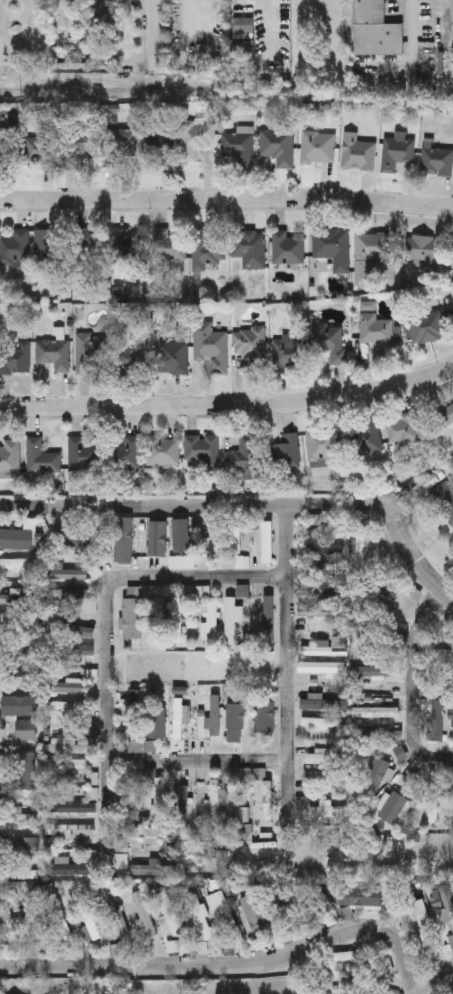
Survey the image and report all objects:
road: (413, 6)
building: (110, 20)
building: (375, 29)
road: (149, 30)
building: (194, 138)
building: (159, 144)
building: (116, 145)
building: (276, 145)
building: (237, 146)
building: (316, 146)
building: (4, 147)
building: (396, 150)
building: (54, 152)
building: (357, 153)
building: (436, 160)
road: (226, 202)
building: (90, 242)
building: (48, 244)
building: (128, 244)
building: (169, 244)
building: (14, 246)
building: (285, 247)
building: (249, 248)
building: (206, 249)
building: (421, 251)
building: (329, 252)
building: (369, 253)
building: (428, 326)
building: (375, 330)
building: (329, 340)
building: (250, 343)
building: (209, 346)
building: (53, 352)
building: (87, 352)
building: (287, 352)
building: (14, 357)
building: (171, 357)
building: (129, 358)
road: (228, 406)
building: (445, 414)
building: (403, 429)
building: (367, 437)
building: (321, 443)
building: (201, 448)
building: (162, 450)
building: (82, 452)
building: (284, 452)
building: (126, 453)
building: (10, 457)
building: (40, 457)
building: (243, 457)
building: (443, 498)
road: (144, 508)
road: (390, 514)
building: (170, 532)
building: (73, 538)
building: (214, 539)
building: (124, 540)
building: (236, 541)
building: (268, 542)
building: (16, 544)
building: (33, 545)
building: (326, 545)
building: (18, 564)
building: (69, 574)
road: (197, 579)
building: (388, 585)
building: (243, 590)
building: (204, 592)
building: (78, 598)
building: (10, 599)
building: (321, 611)
building: (19, 617)
building: (159, 617)
building: (132, 618)
building: (268, 618)
building: (232, 619)
building: (213, 622)
building: (73, 631)
building: (329, 648)
building: (20, 652)
building: (84, 653)
building: (372, 672)
road: (291, 676)
road: (417, 682)
building: (67, 686)
building: (323, 703)
building: (20, 704)
building: (66, 706)
building: (376, 712)
building: (452, 714)
building: (215, 715)
building: (233, 716)
building: (180, 717)
building: (265, 717)
building: (435, 719)
building: (127, 722)
building: (322, 722)
building: (156, 723)
road: (109, 724)
building: (29, 730)
building: (382, 735)
building: (69, 745)
building: (326, 759)
road: (201, 761)
building: (66, 764)
building: (26, 770)
building: (245, 775)
building: (328, 775)
building: (375, 776)
building: (92, 779)
building: (92, 793)
building: (126, 797)
building: (160, 798)
building: (214, 799)
building: (267, 801)
building: (433, 801)
building: (231, 802)
building: (182, 806)
building: (393, 807)
building: (23, 818)
building: (73, 831)
building: (150, 834)
building: (28, 845)
building: (121, 845)
building: (121, 861)
building: (65, 866)
building: (155, 867)
building: (22, 872)
building: (360, 895)
building: (309, 902)
building: (447, 904)
building: (285, 910)
building: (221, 911)
building: (168, 913)
building: (254, 913)
building: (143, 914)
building: (60, 918)
building: (199, 919)
building: (8, 921)
building: (119, 921)
building: (89, 922)
building: (451, 940)
building: (172, 946)
building: (350, 955)
road: (231, 965)
road: (438, 979)
building: (360, 986)
building: (450, 991)

